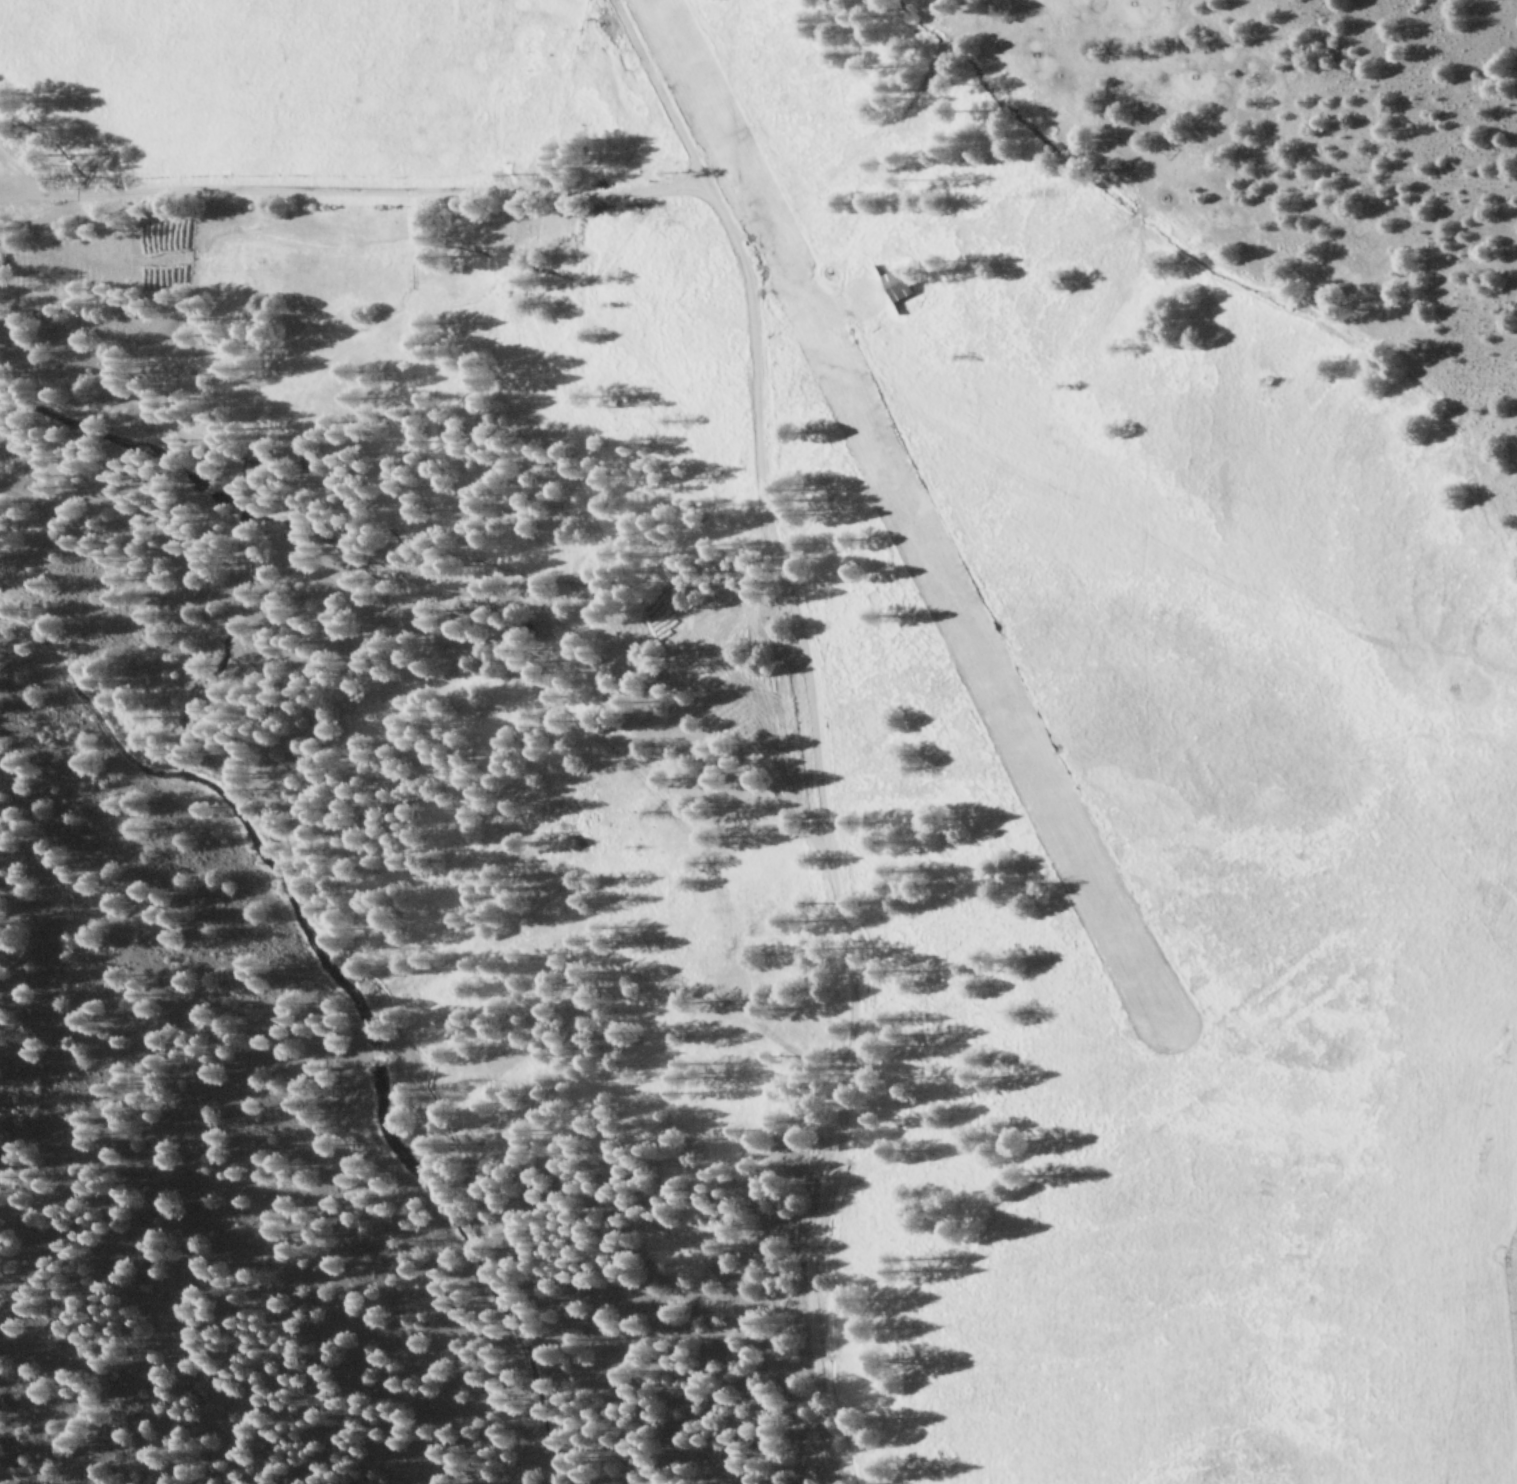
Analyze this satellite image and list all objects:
road: (352, 190)
building: (897, 284)
road: (810, 727)

